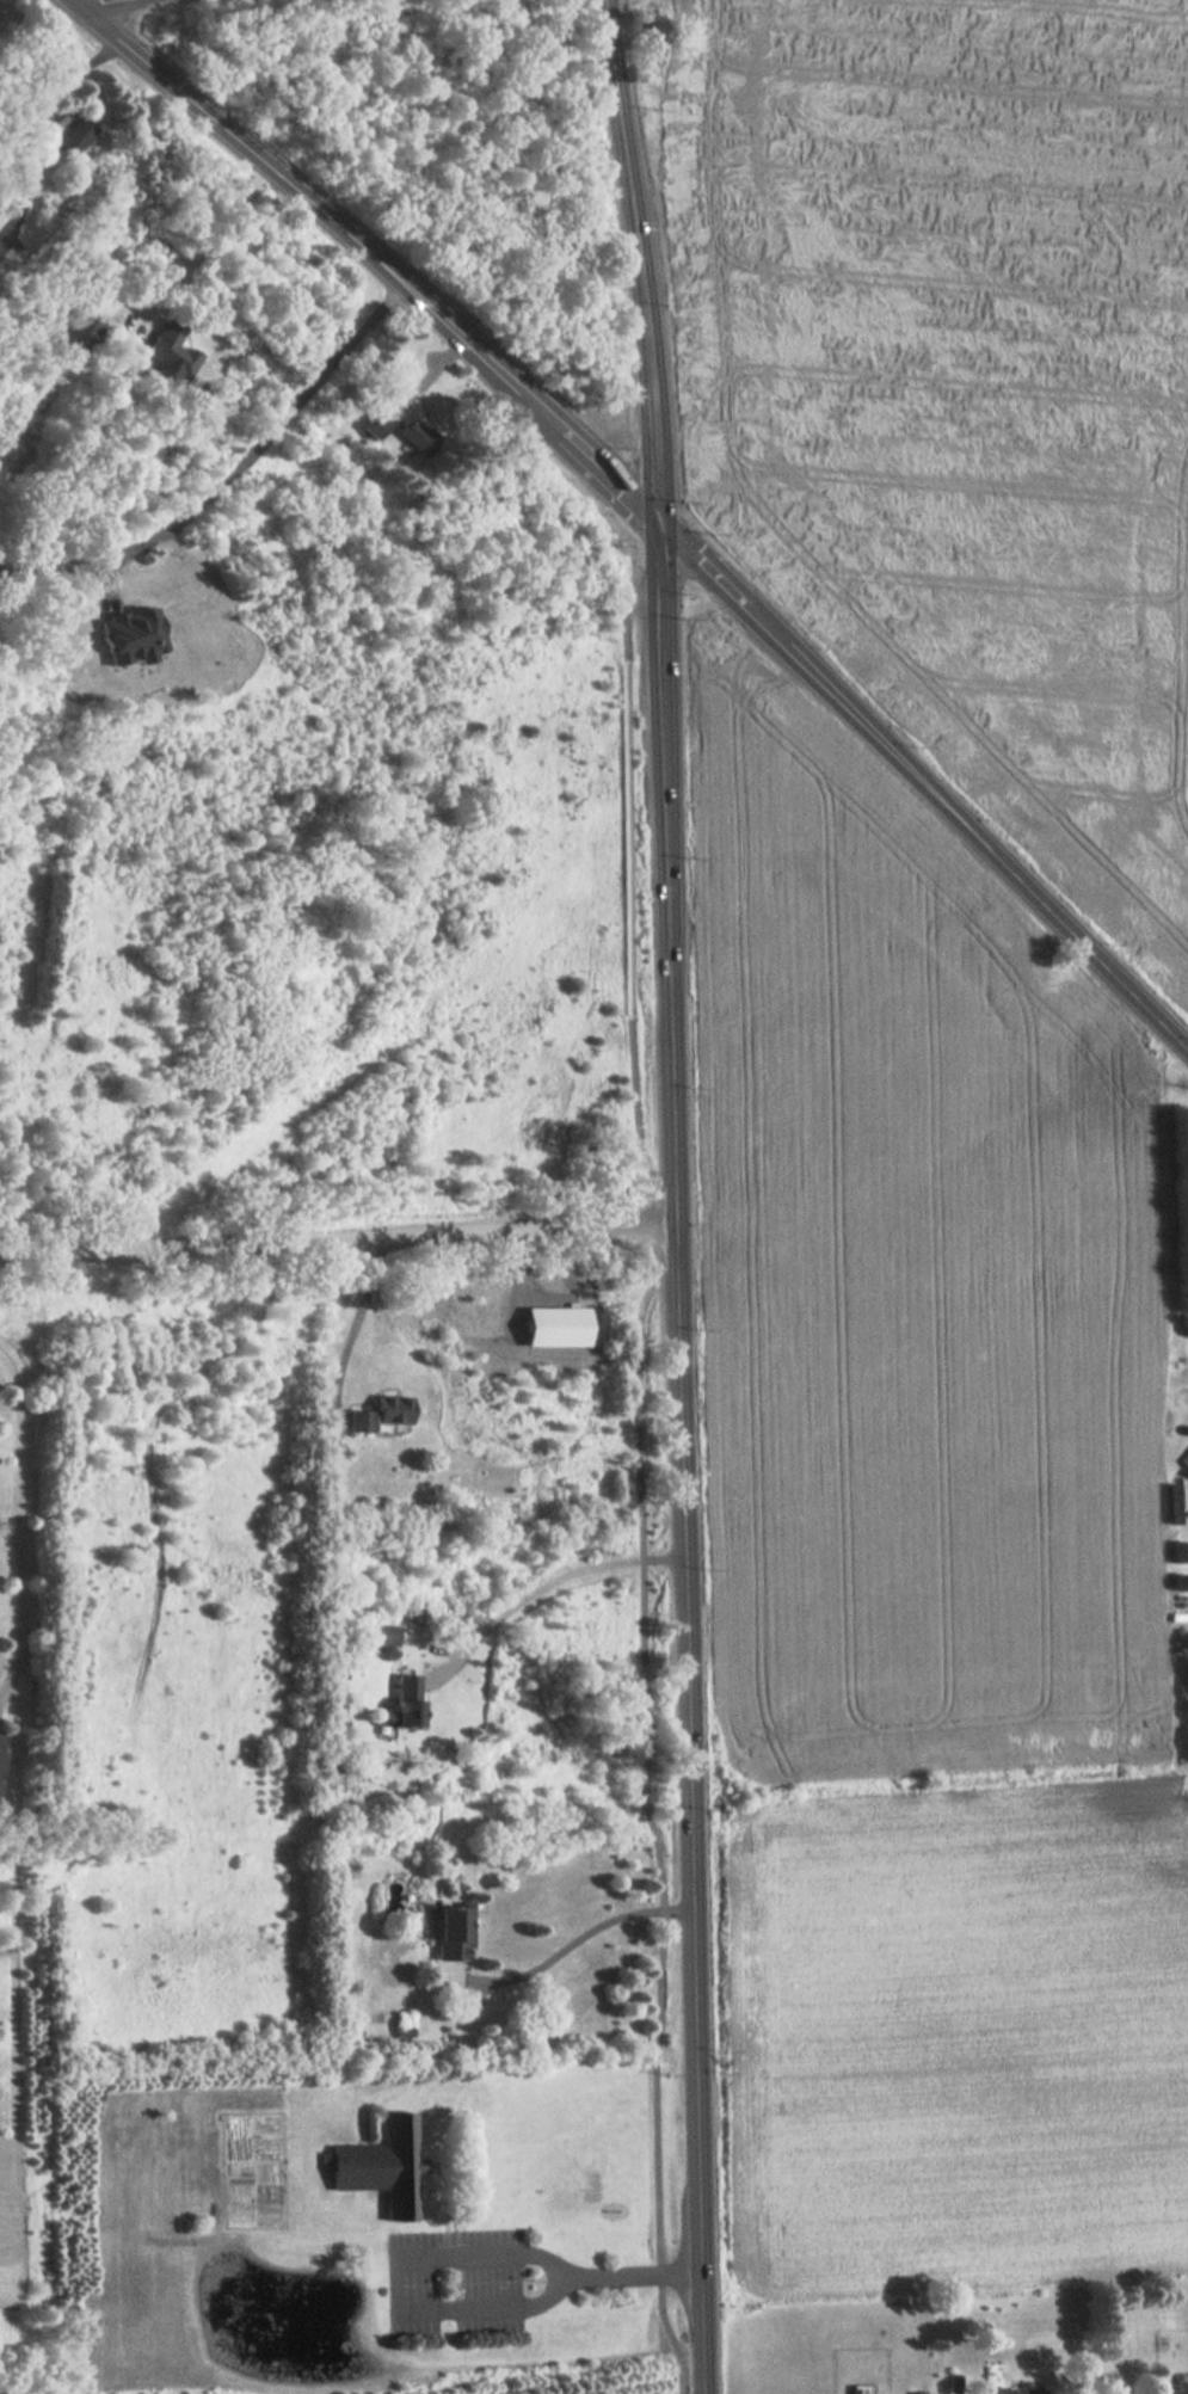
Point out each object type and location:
road: (100, 2)
road: (29, 124)
building: (78, 134)
road: (629, 154)
road: (296, 186)
road: (179, 267)
building: (171, 350)
road: (654, 411)
building: (402, 432)
road: (586, 445)
road: (233, 474)
traffic signals: (660, 512)
road: (710, 562)
road: (644, 597)
road: (665, 650)
road: (974, 829)
road: (579, 1100)
parking lot: (505, 1143)
road: (457, 1157)
road: (339, 1235)
crop: (910, 1282)
road: (351, 1325)
building: (378, 1414)
building: (1184, 1458)
road: (29, 1484)
road: (644, 1507)
building: (1178, 1551)
road: (550, 1578)
road: (688, 1590)
building: (1183, 1626)
building: (381, 1635)
building: (402, 1704)
building: (1, 1755)
building: (0, 1797)
building: (449, 1933)
road: (583, 1935)
crop: (953, 2039)
building: (383, 2165)
road: (609, 2269)
parking lot: (456, 2275)
road: (423, 2278)
road: (552, 2290)
building: (1003, 2382)
building: (1171, 2387)

